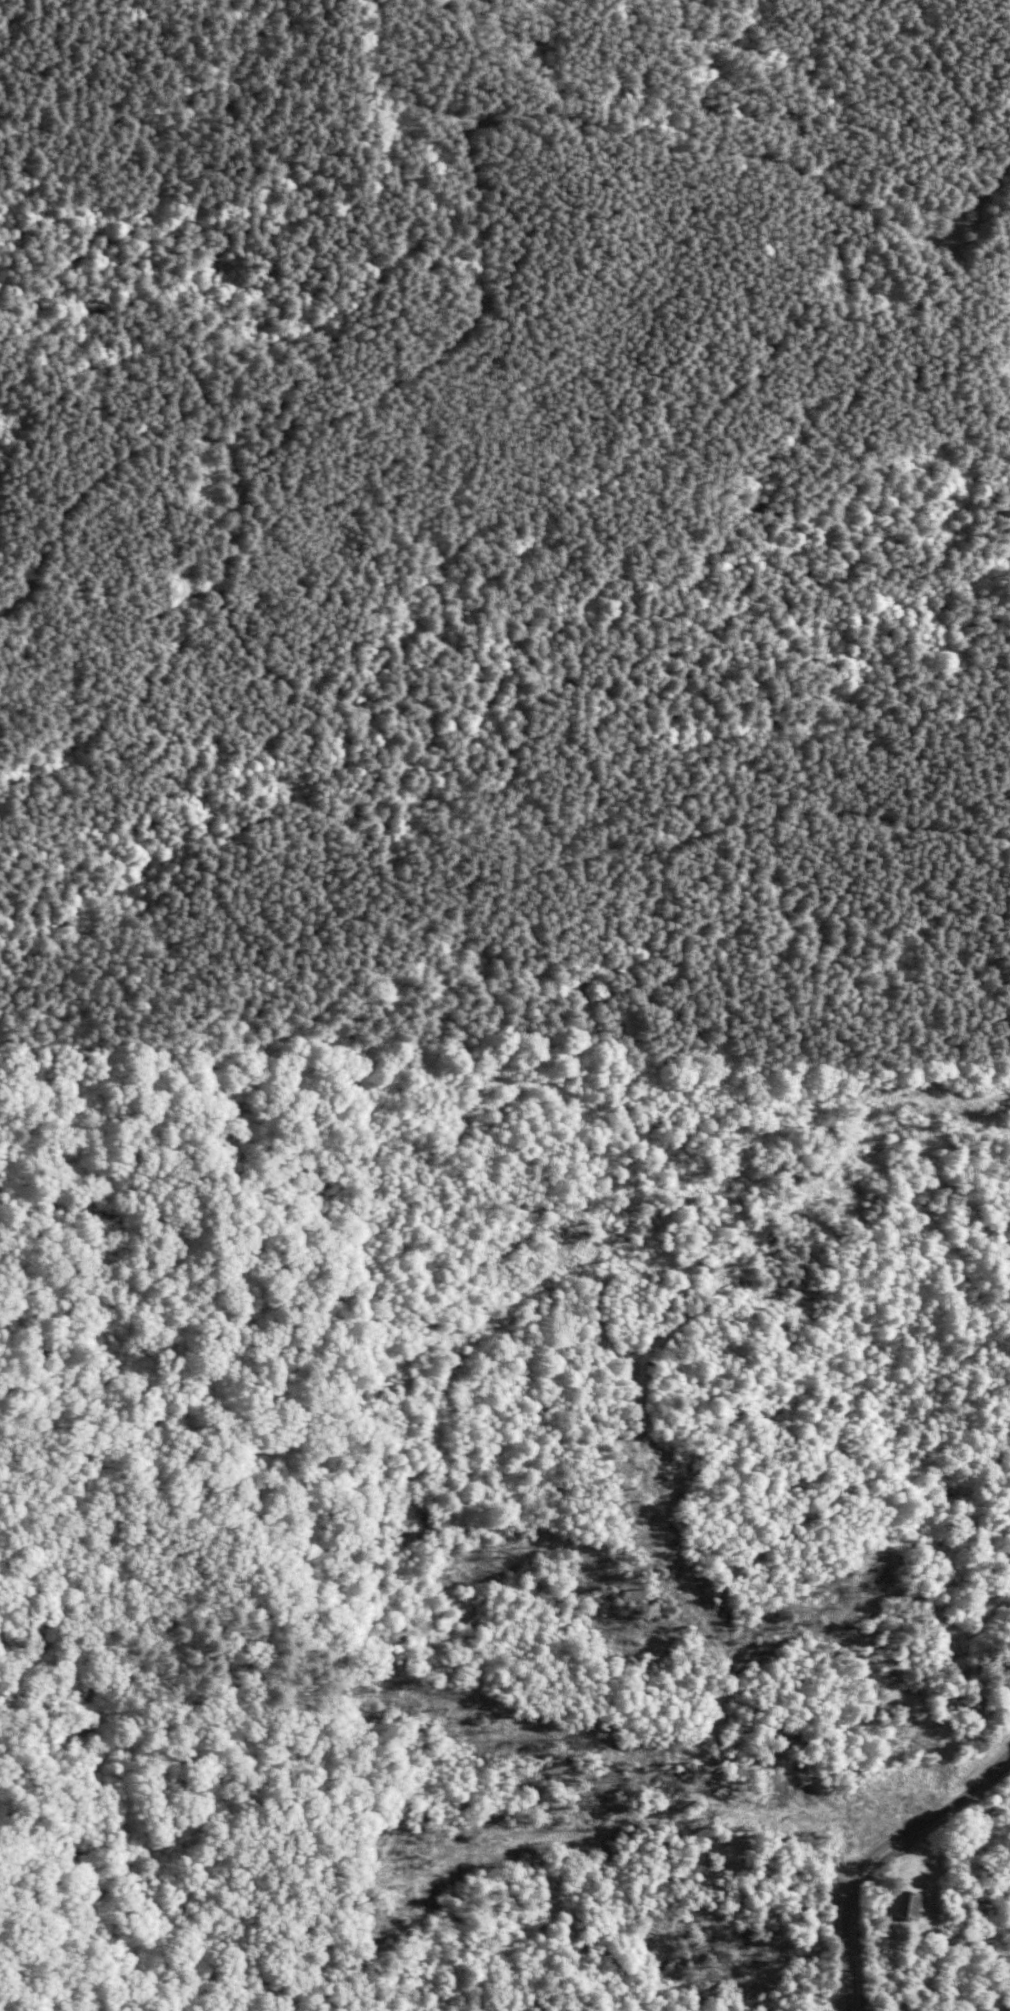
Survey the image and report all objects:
road: (878, 1838)
building: (896, 1906)

